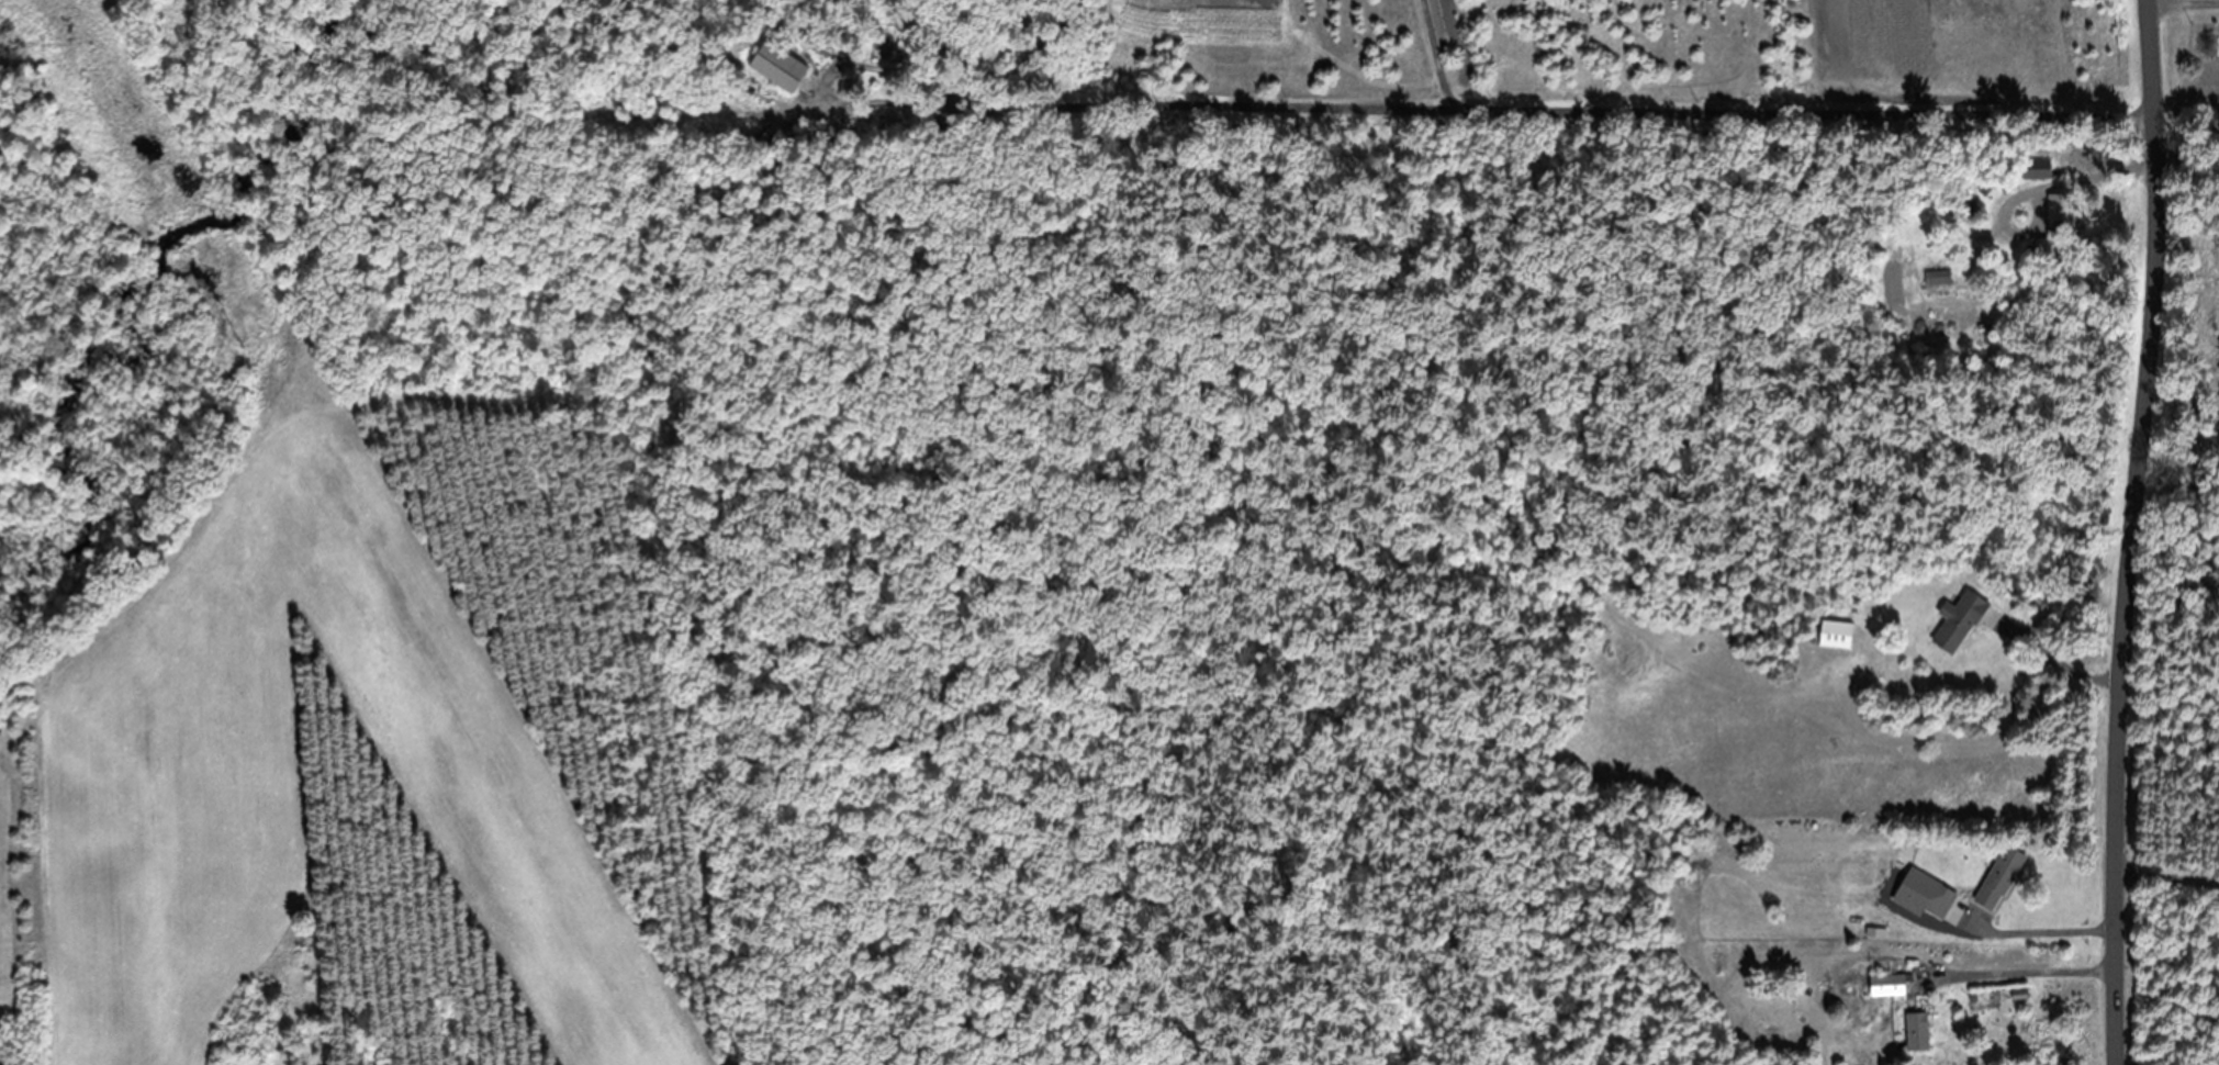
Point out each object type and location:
road: (1436, 52)
building: (786, 67)
road: (1533, 103)
building: (1934, 277)
road: (1893, 344)
road: (2129, 530)
building: (1952, 623)
building: (1995, 878)
building: (1935, 900)
building: (1882, 985)
building: (1912, 1030)

